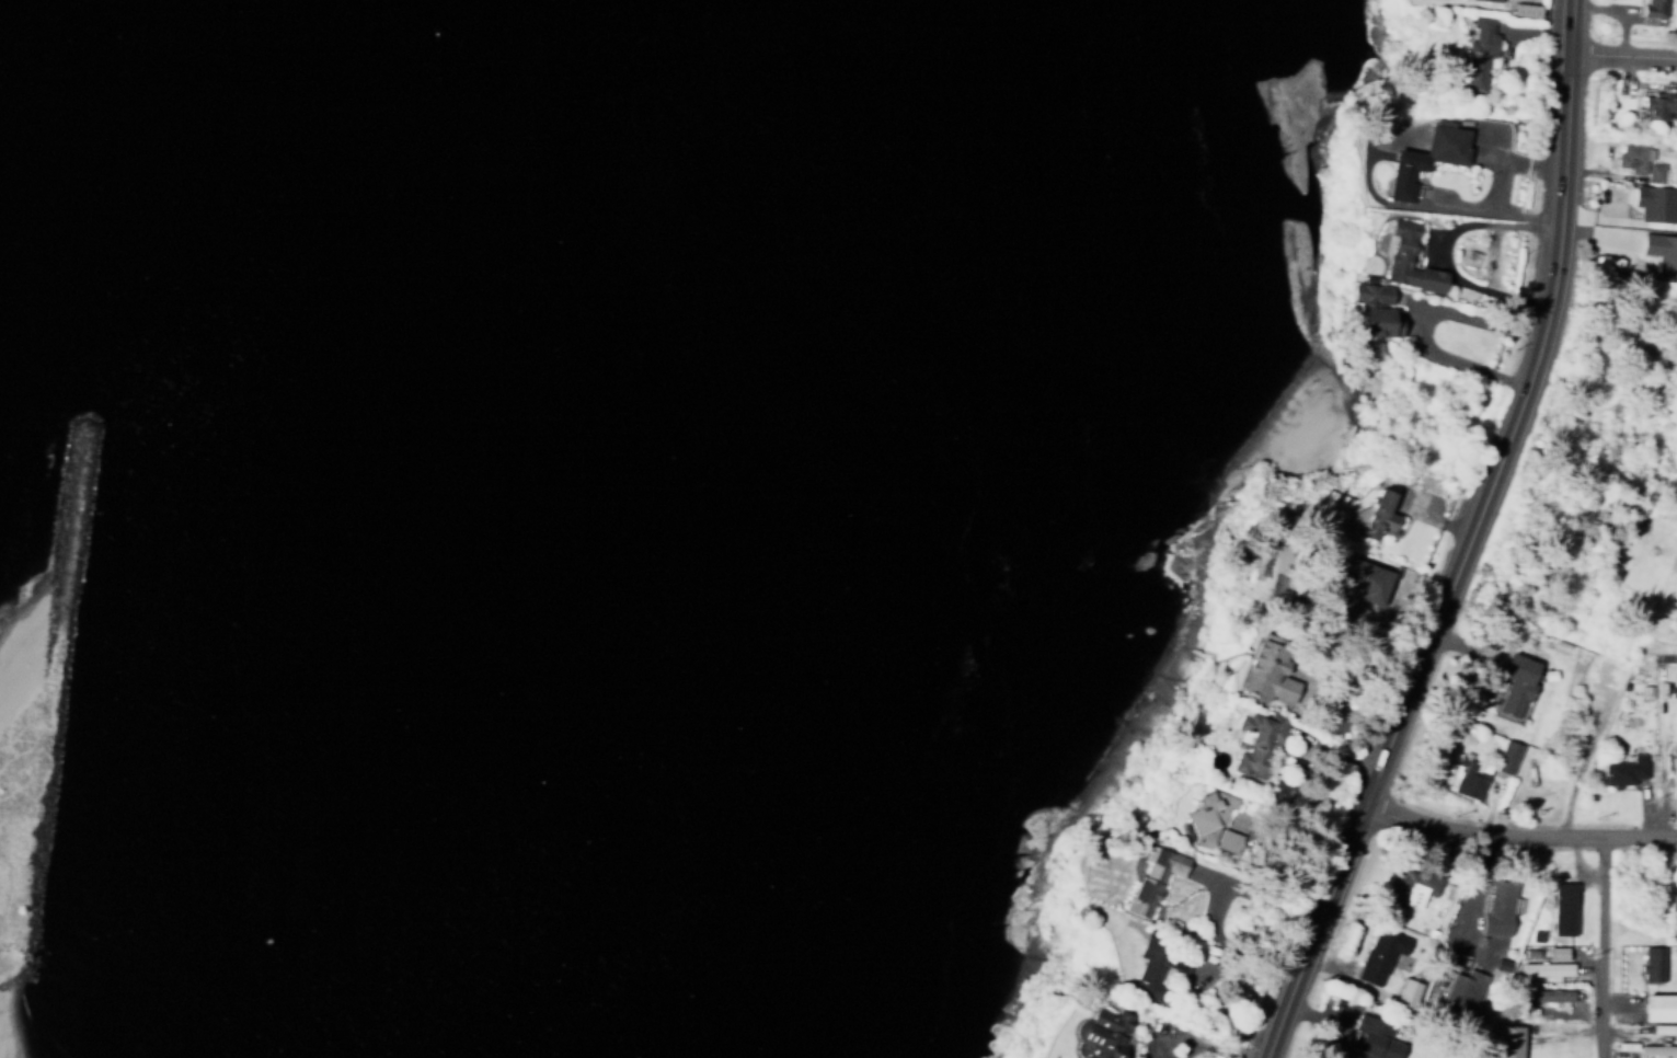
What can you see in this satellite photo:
building: (1494, 0)
building: (1527, 5)
building: (1652, 8)
building: (1477, 48)
road: (1620, 49)
building: (1425, 152)
building: (1639, 161)
building: (1655, 203)
building: (1661, 254)
building: (1409, 255)
building: (1374, 304)
building: (1378, 508)
road: (1466, 541)
building: (1369, 580)
building: (1270, 670)
building: (1515, 680)
building: (1596, 694)
building: (1255, 743)
building: (1506, 756)
building: (1675, 764)
building: (1620, 767)
road: (1576, 774)
building: (1467, 778)
building: (1211, 823)
road: (1518, 829)
building: (1153, 877)
building: (1410, 887)
road: (1471, 889)
building: (1673, 892)
building: (1558, 896)
building: (1497, 904)
building: (1536, 930)
road: (1605, 945)
building: (1379, 950)
building: (1554, 953)
building: (1652, 958)
building: (1544, 964)
building: (1149, 967)
building: (1405, 987)
building: (1547, 991)
building: (1458, 997)
building: (1658, 1002)
building: (1662, 1028)
building: (1103, 1031)
building: (1374, 1036)
building: (1507, 1038)
building: (1656, 1044)
building: (1554, 1056)

